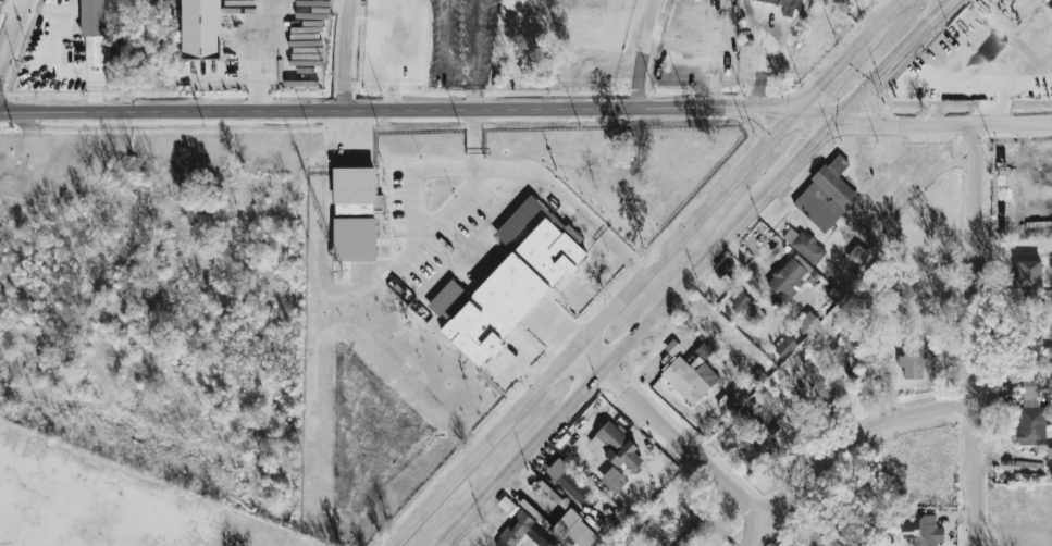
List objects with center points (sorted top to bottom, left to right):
building: (784, 2)
building: (1049, 2)
road: (877, 21)
building: (201, 28)
road: (13, 35)
building: (265, 41)
building: (95, 49)
road: (647, 52)
road: (345, 53)
building: (135, 54)
road: (890, 57)
building: (780, 60)
road: (828, 75)
traffic signals: (815, 89)
road: (869, 99)
traffic signals: (776, 107)
road: (373, 108)
road: (793, 108)
traffic signals: (862, 119)
road: (944, 123)
road: (759, 124)
road: (780, 128)
traffic signals: (818, 138)
road: (806, 150)
road: (953, 162)
building: (667, 174)
road: (907, 177)
road: (541, 183)
building: (356, 191)
building: (825, 193)
road: (414, 208)
building: (518, 219)
road: (480, 233)
building: (355, 238)
building: (519, 238)
building: (805, 248)
building: (857, 253)
building: (1029, 273)
building: (787, 277)
building: (513, 289)
building: (448, 300)
building: (740, 302)
building: (757, 312)
building: (807, 324)
road: (982, 334)
building: (847, 343)
road: (575, 347)
building: (672, 347)
building: (785, 347)
building: (880, 350)
building: (729, 353)
building: (913, 360)
road: (607, 365)
building: (846, 365)
building: (688, 379)
building: (810, 385)
building: (1032, 410)
road: (672, 434)
building: (758, 437)
road: (849, 442)
building: (617, 448)
building: (1049, 458)
building: (609, 481)
building: (574, 485)
building: (515, 530)
building: (573, 531)
building: (927, 531)
building: (690, 532)
road: (11, 542)
building: (639, 545)

